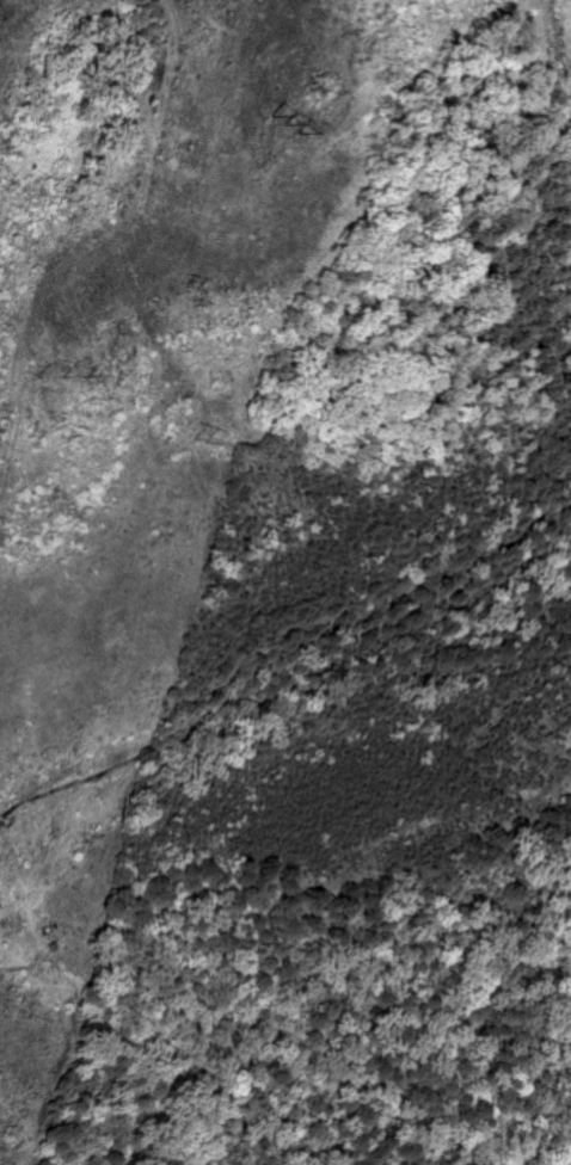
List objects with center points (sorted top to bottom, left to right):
power tower: (277, 122)
power tower: (176, 285)
power tower: (33, 371)
power tower: (189, 438)

